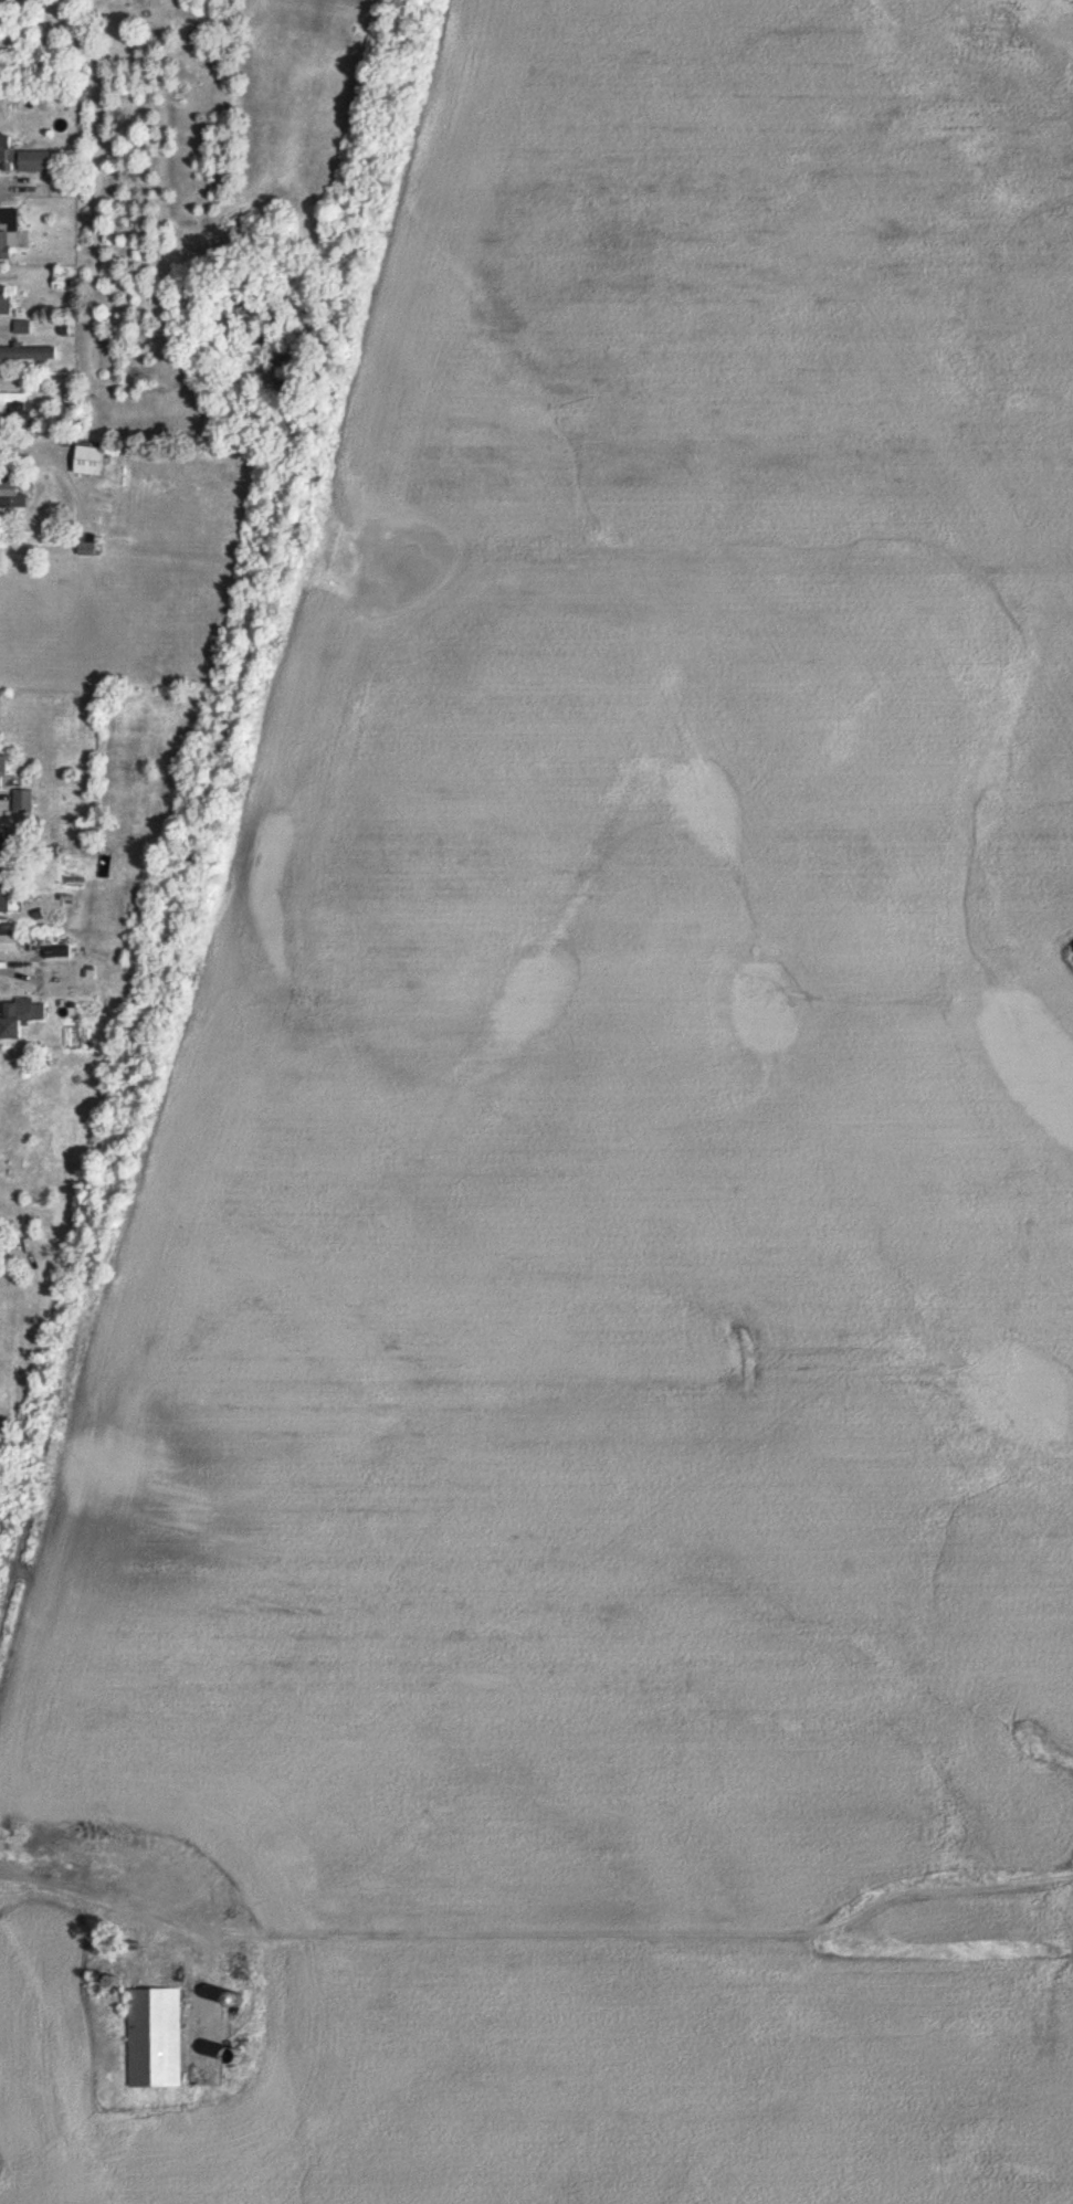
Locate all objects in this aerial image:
building: (23, 156)
building: (9, 234)
building: (6, 298)
building: (21, 326)
building: (28, 352)
building: (15, 398)
building: (92, 461)
building: (11, 491)
building: (4, 845)
building: (4, 895)
building: (10, 941)
building: (57, 951)
building: (19, 1017)
crop: (639, 1177)
building: (156, 2037)

